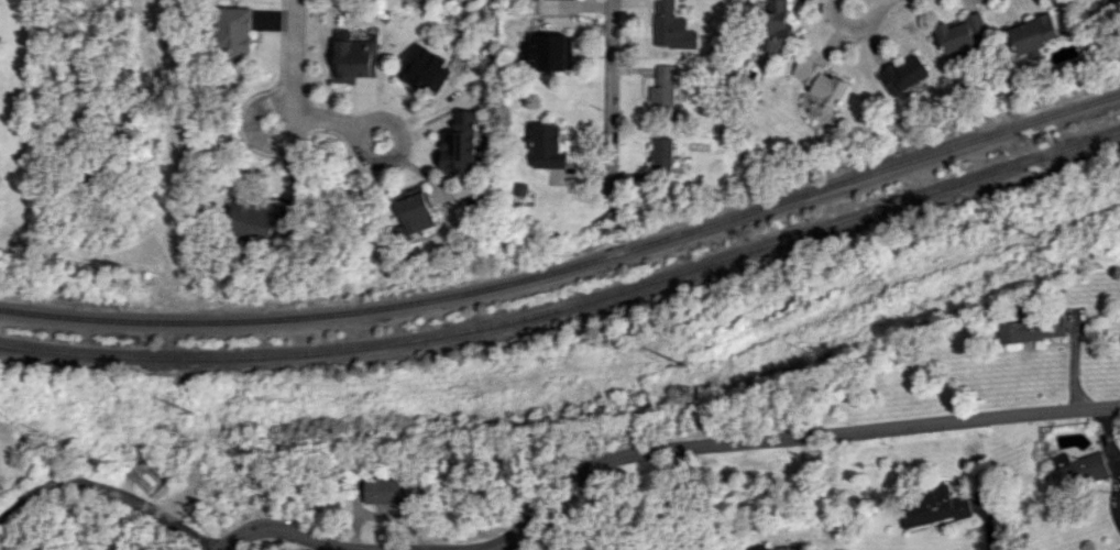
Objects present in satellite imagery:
building: (447, 0)
road: (853, 24)
building: (773, 28)
building: (672, 29)
building: (234, 32)
building: (963, 32)
building: (1032, 36)
road: (294, 51)
building: (550, 52)
building: (353, 58)
building: (422, 71)
building: (902, 76)
building: (820, 81)
building: (662, 89)
road: (612, 96)
road: (385, 120)
road: (254, 130)
park: (121, 143)
building: (458, 146)
building: (546, 147)
building: (662, 155)
building: (414, 210)
building: (257, 220)
railway: (570, 267)
railway: (570, 308)
building: (1031, 327)
road: (778, 439)
building: (1076, 470)
building: (387, 492)
road: (26, 497)
road: (139, 505)
building: (931, 508)
road: (283, 528)

